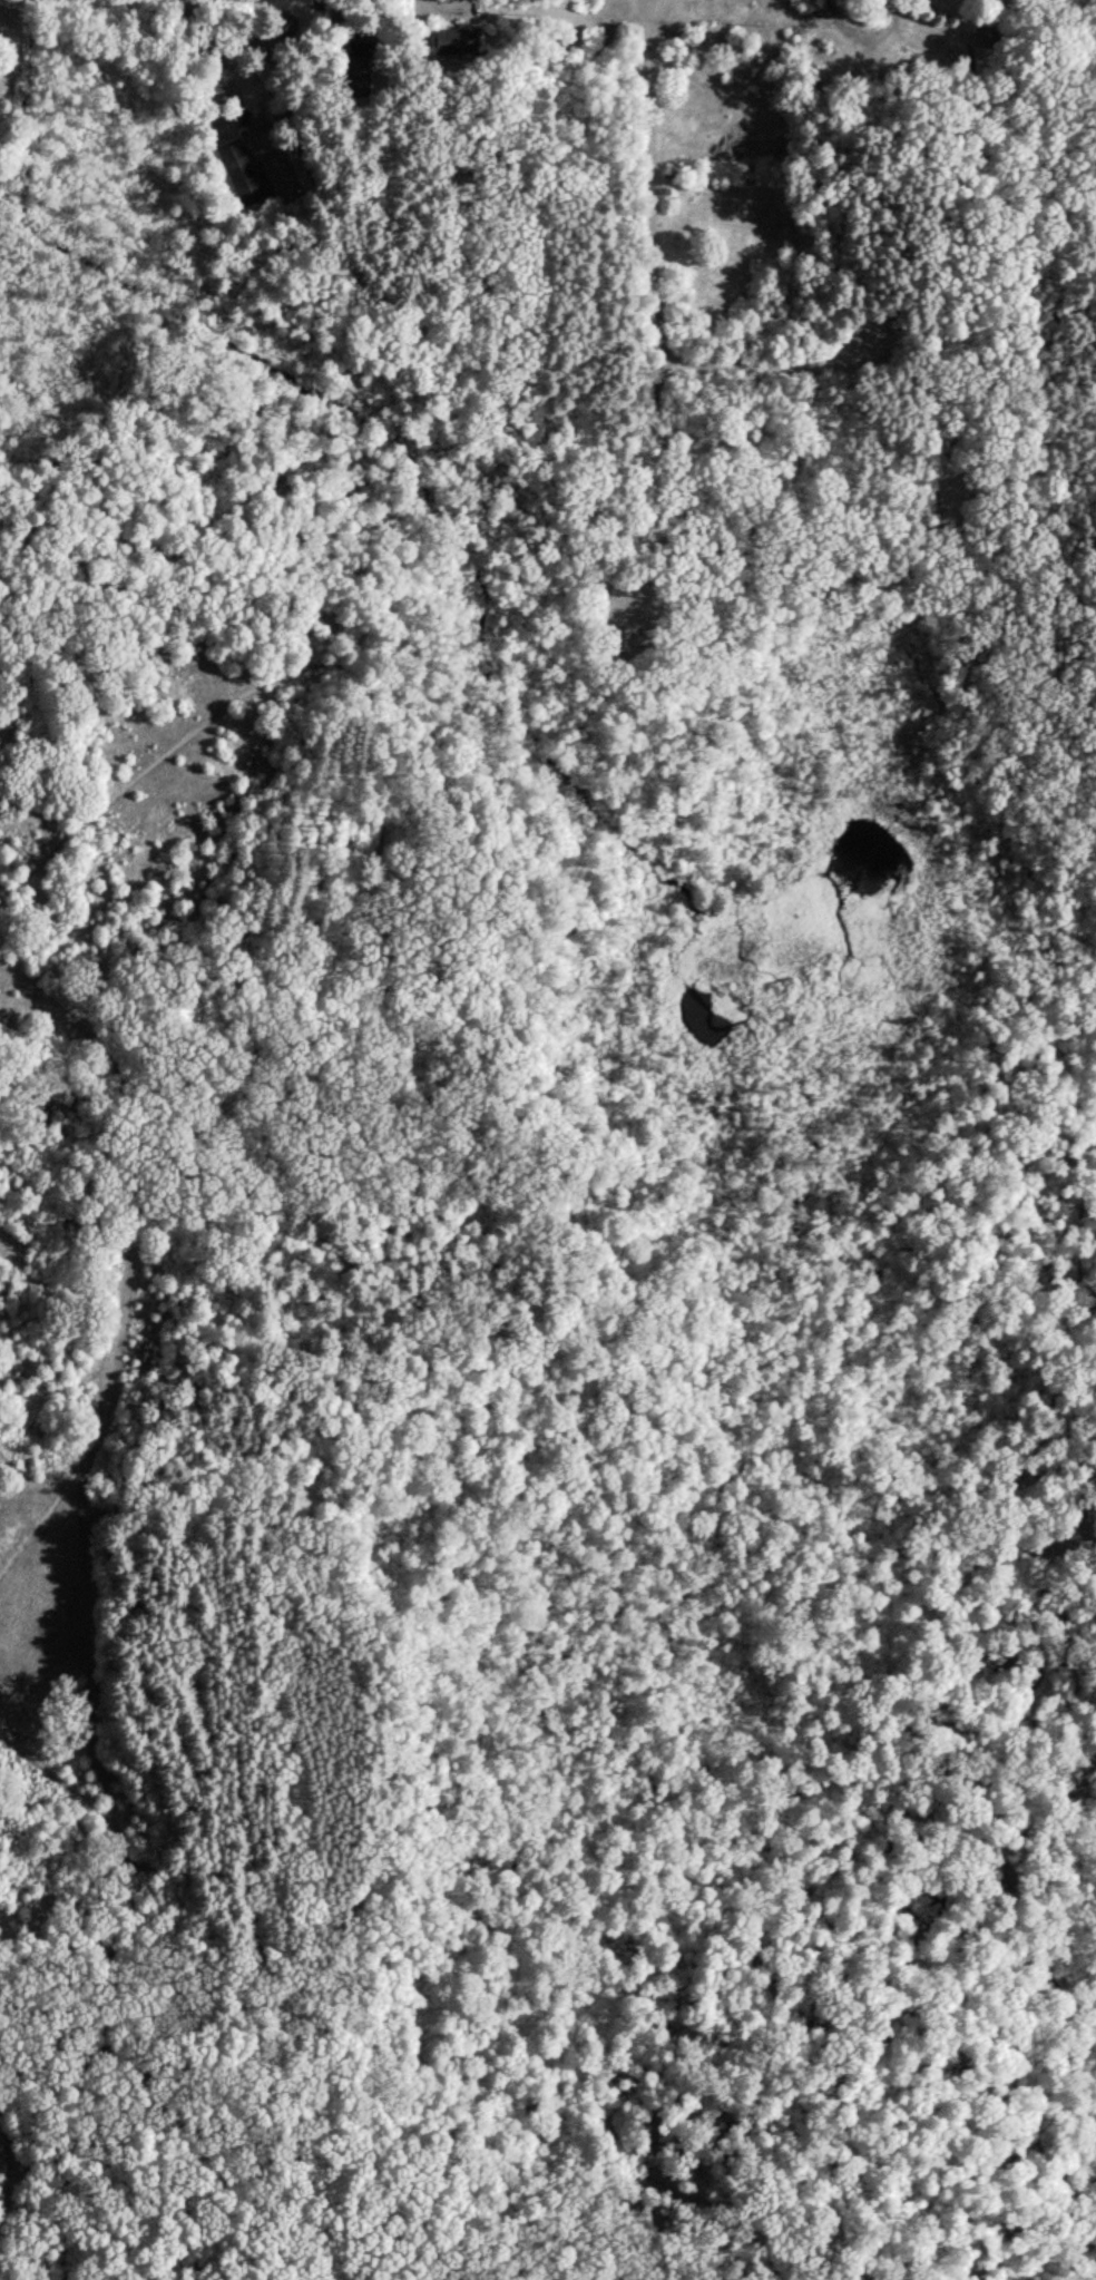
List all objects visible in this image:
building: (456, 49)
road: (228, 65)
building: (234, 160)
building: (276, 184)

